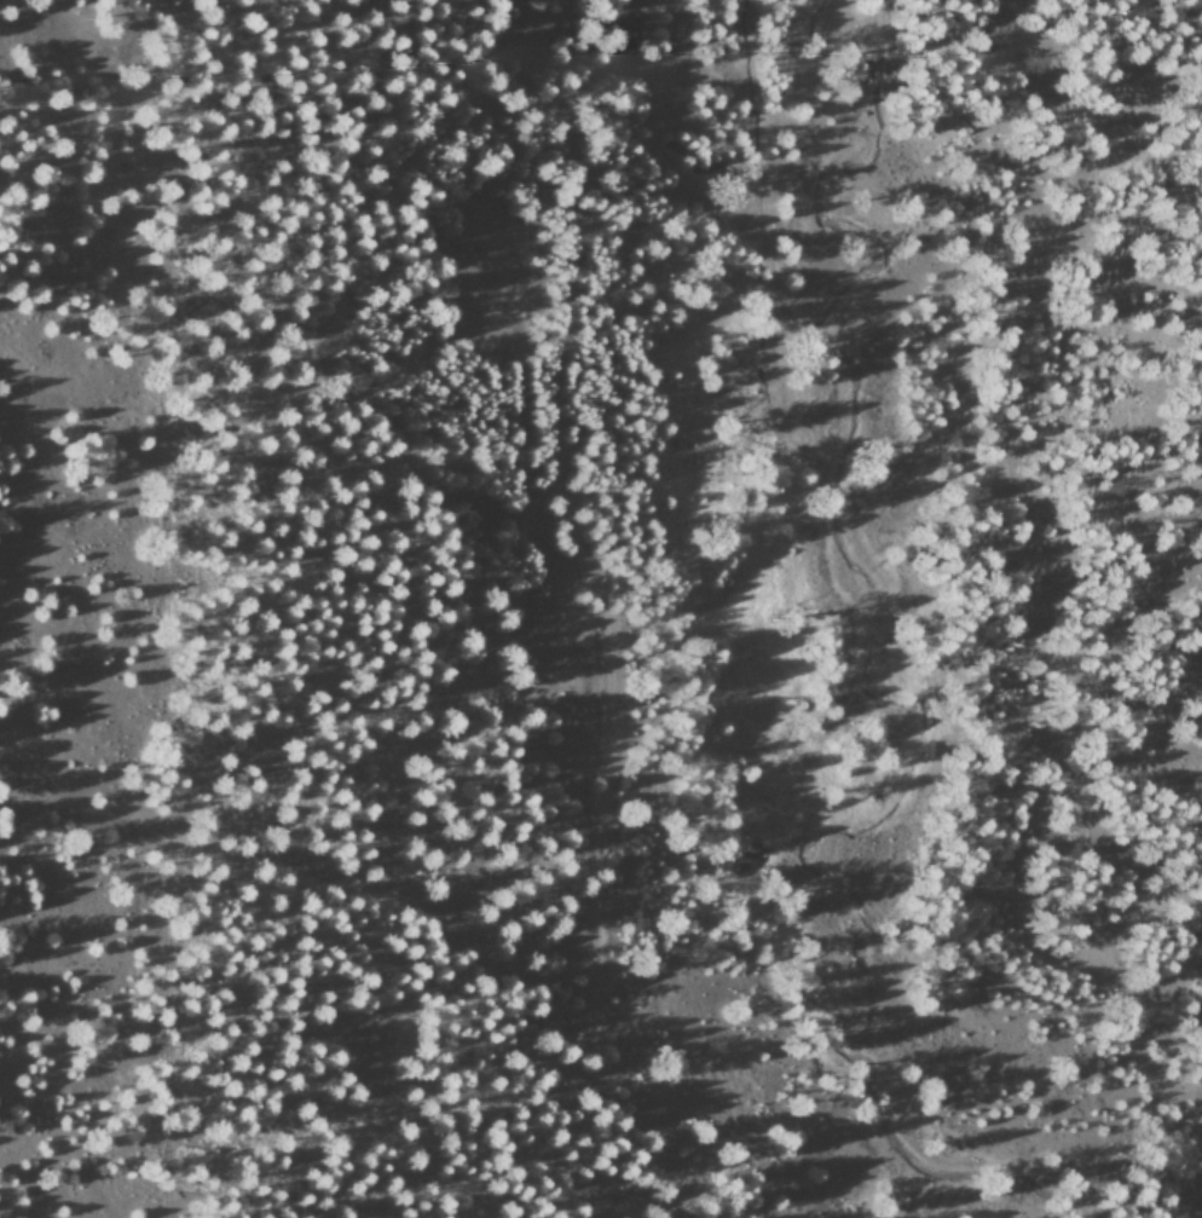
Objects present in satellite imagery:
road: (721, 611)

